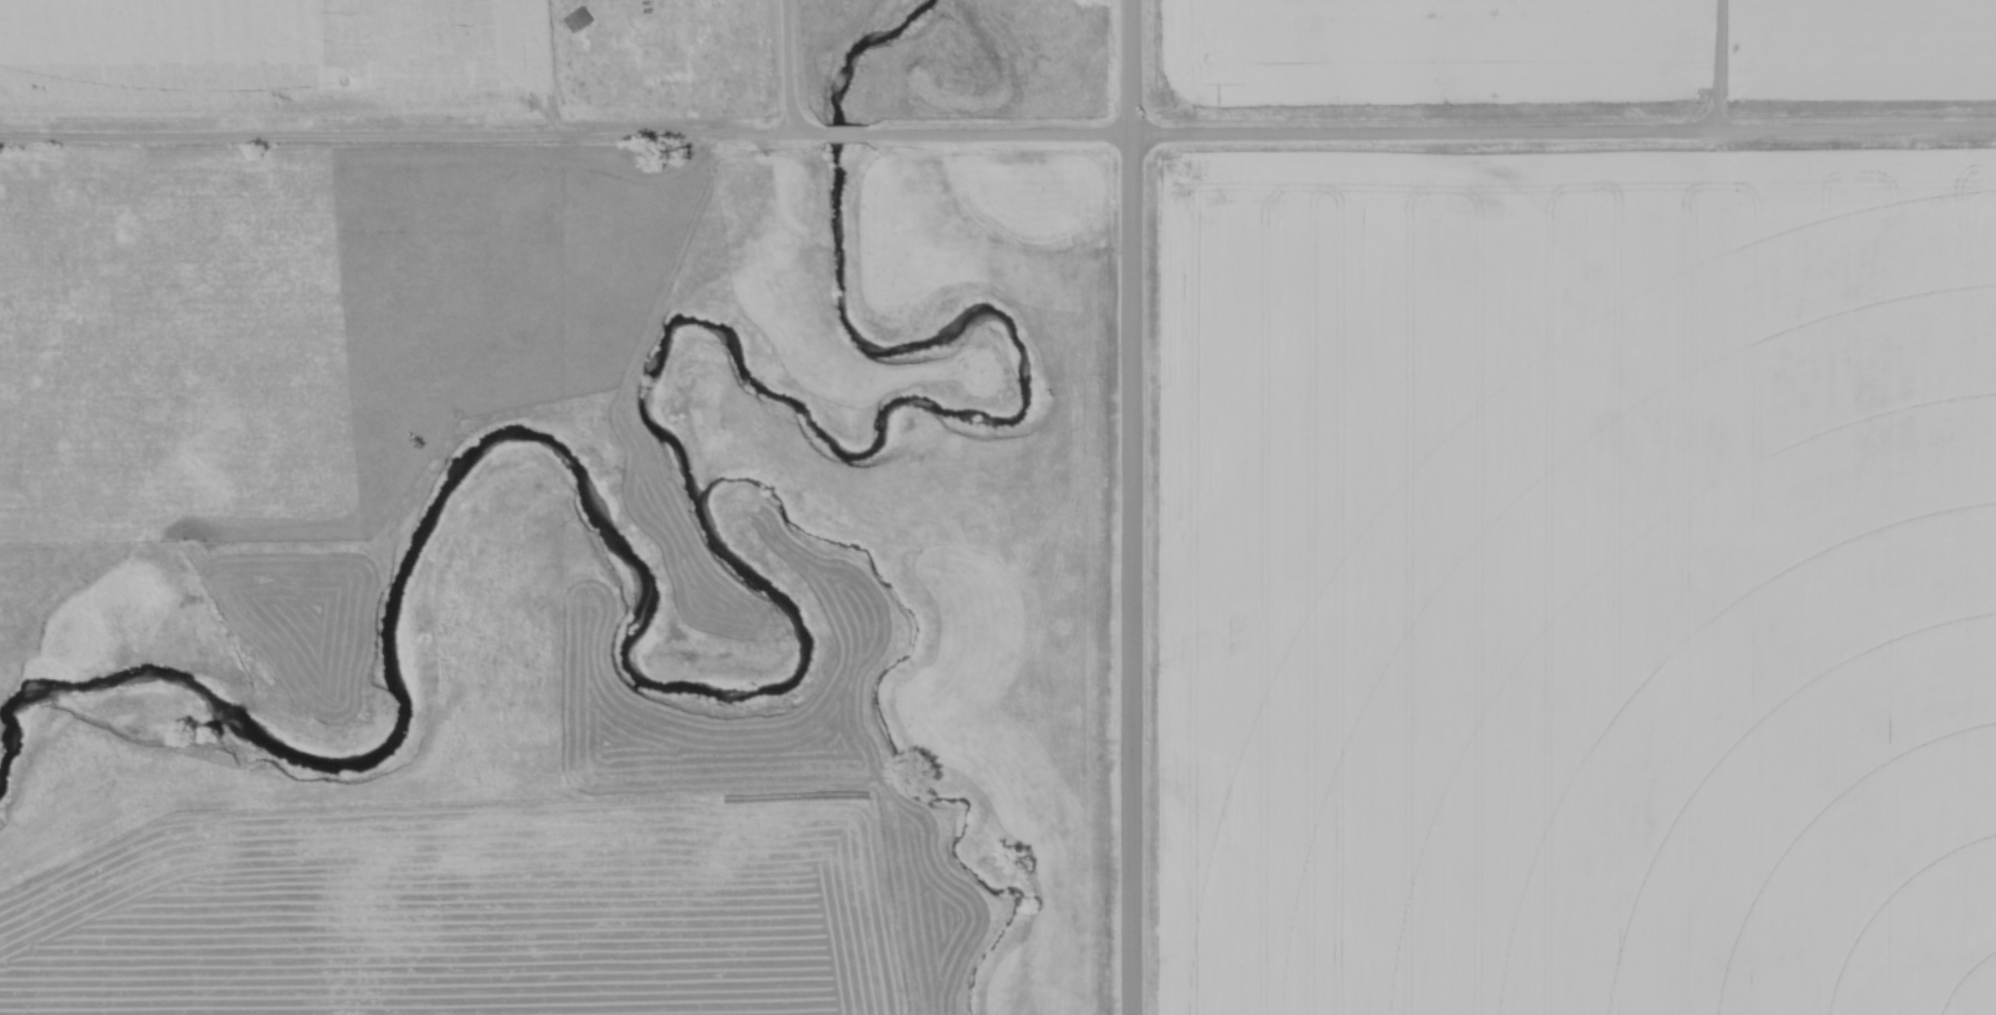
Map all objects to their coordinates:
building: (575, 19)
road: (1719, 67)
road: (791, 68)
road: (412, 133)
road: (1563, 134)
road: (844, 137)
road: (998, 137)
road: (1133, 507)
river: (758, 585)

